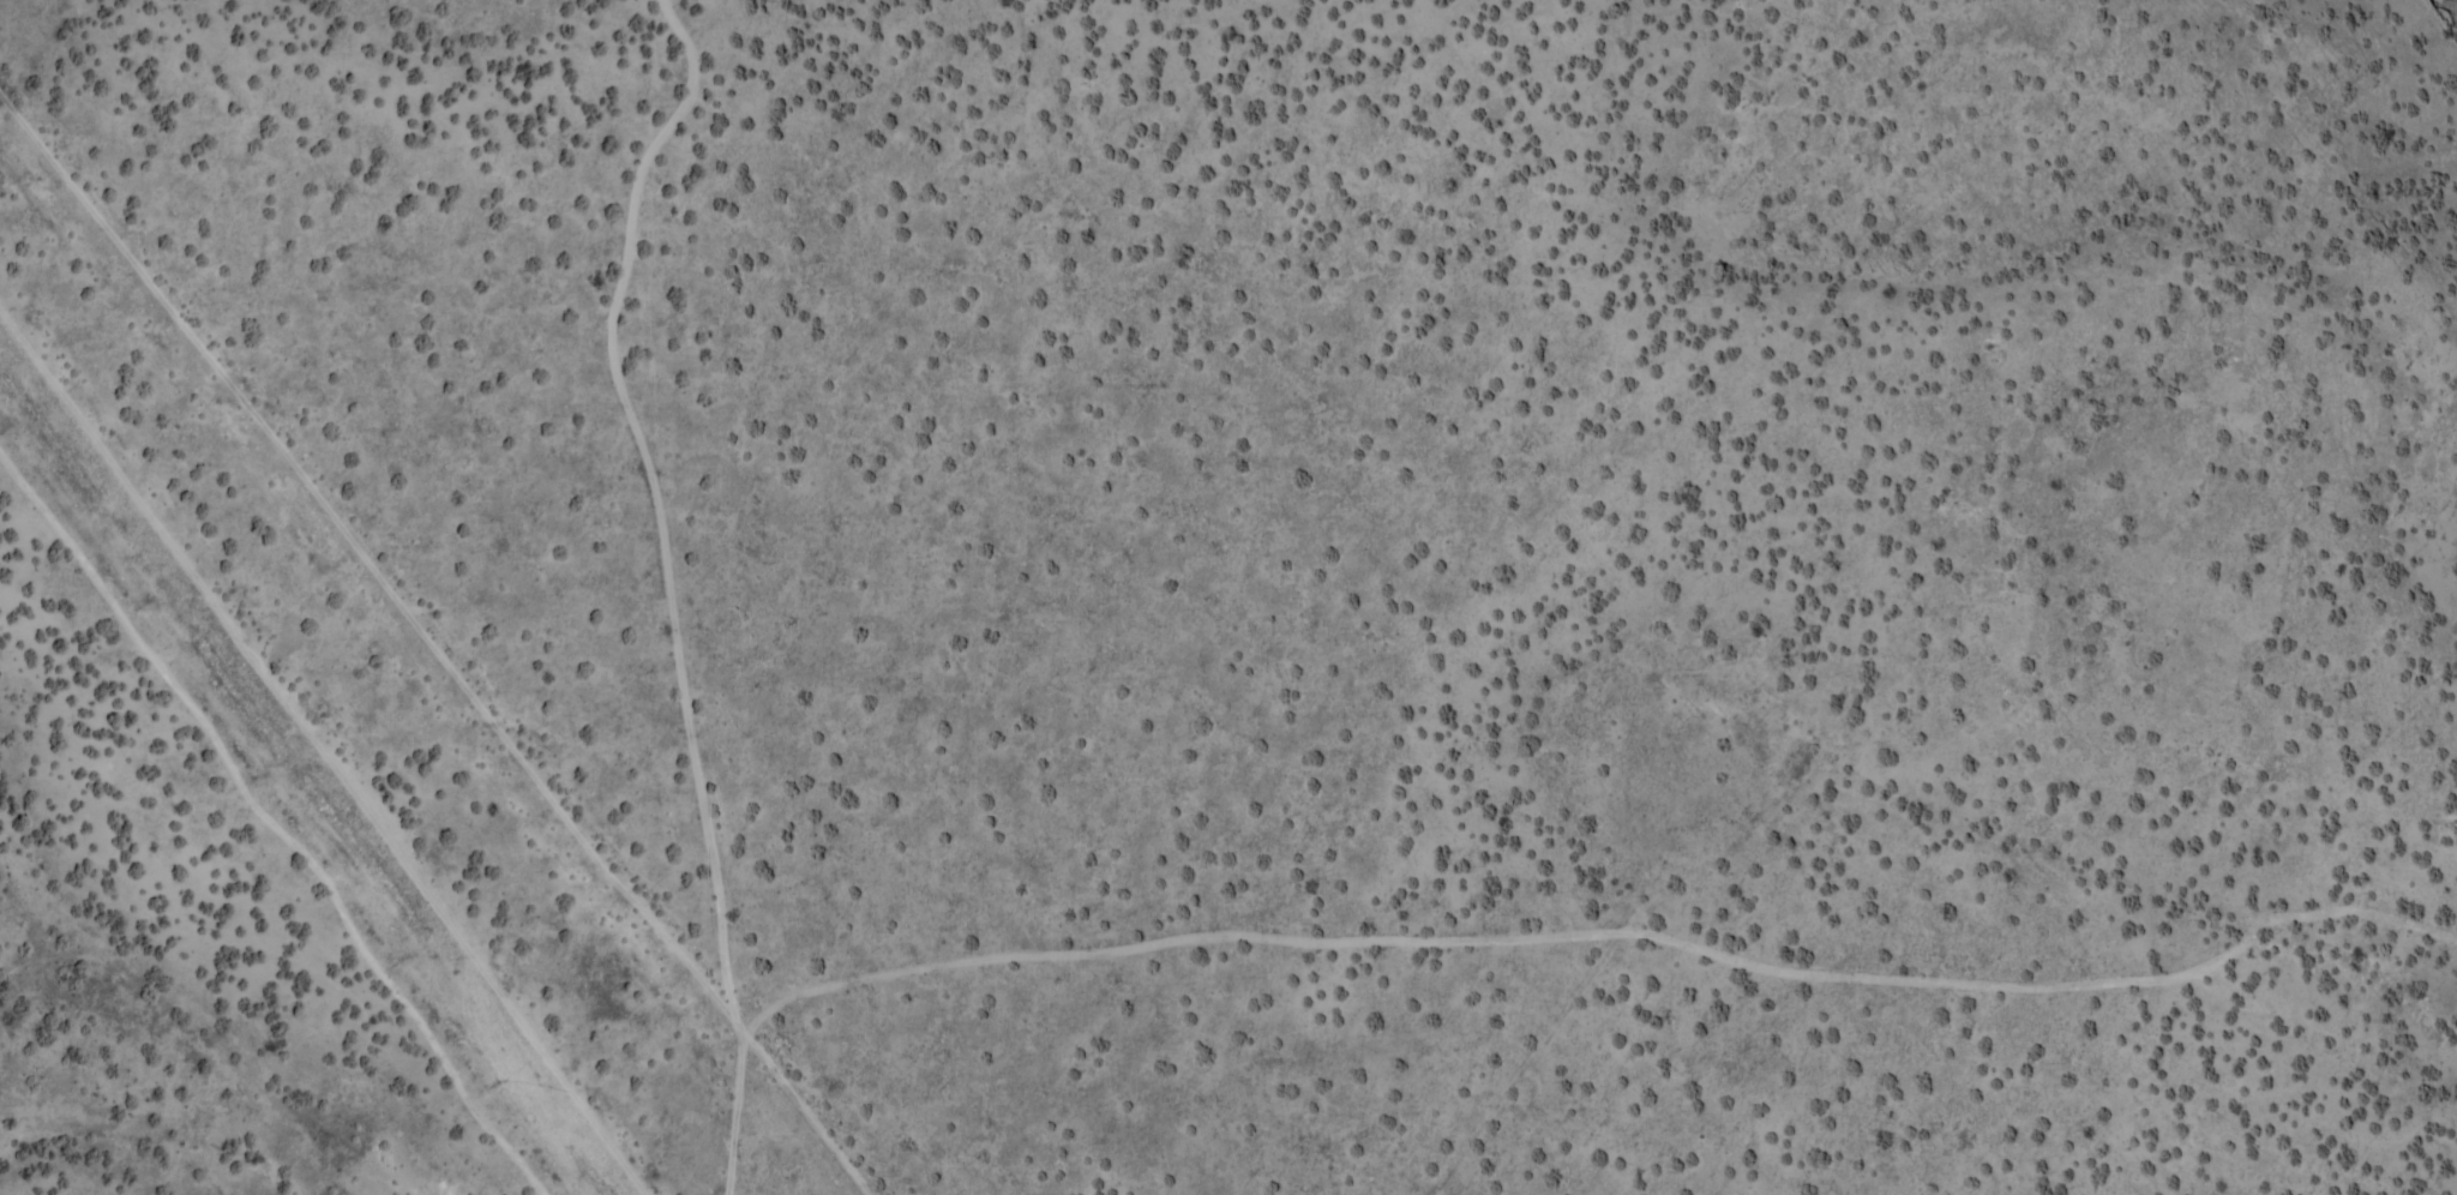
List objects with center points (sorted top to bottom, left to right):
road: (684, 600)
road: (1606, 923)

